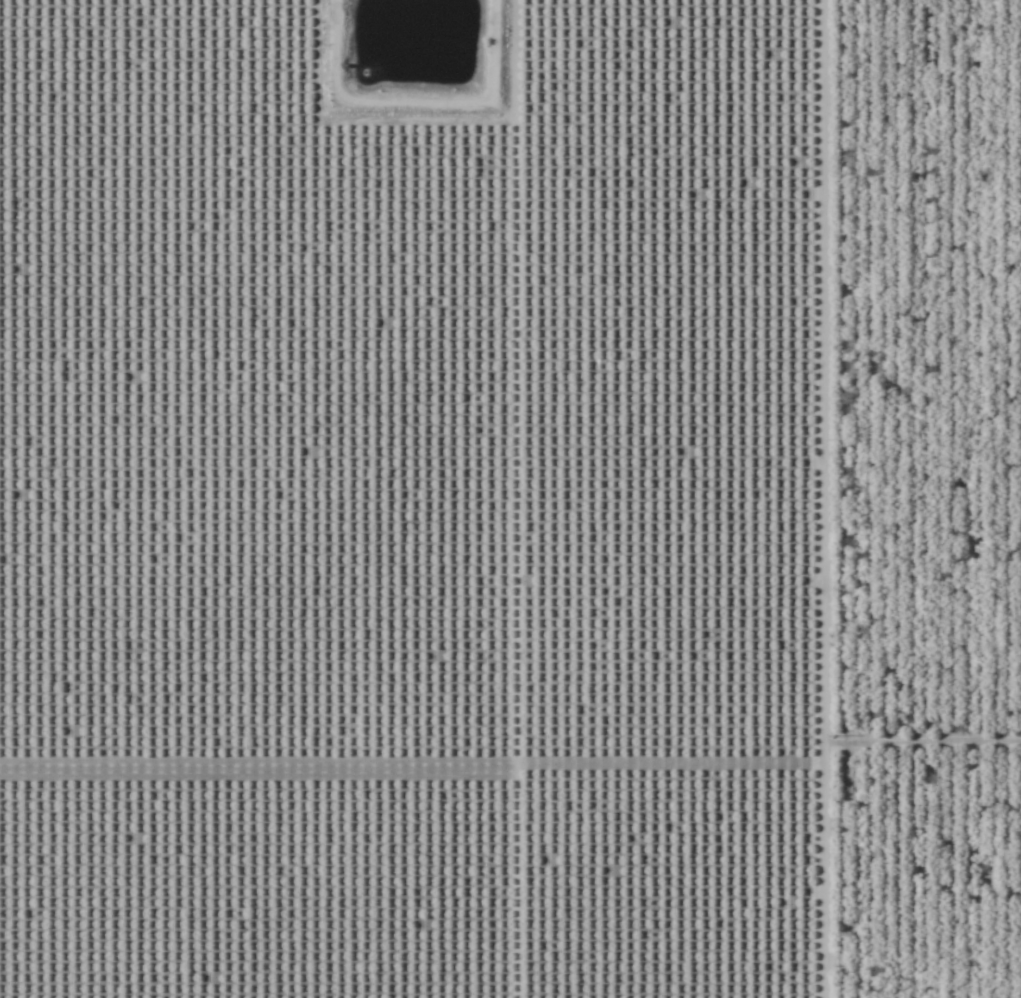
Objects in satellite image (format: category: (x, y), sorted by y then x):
road: (815, 499)
road: (256, 760)

